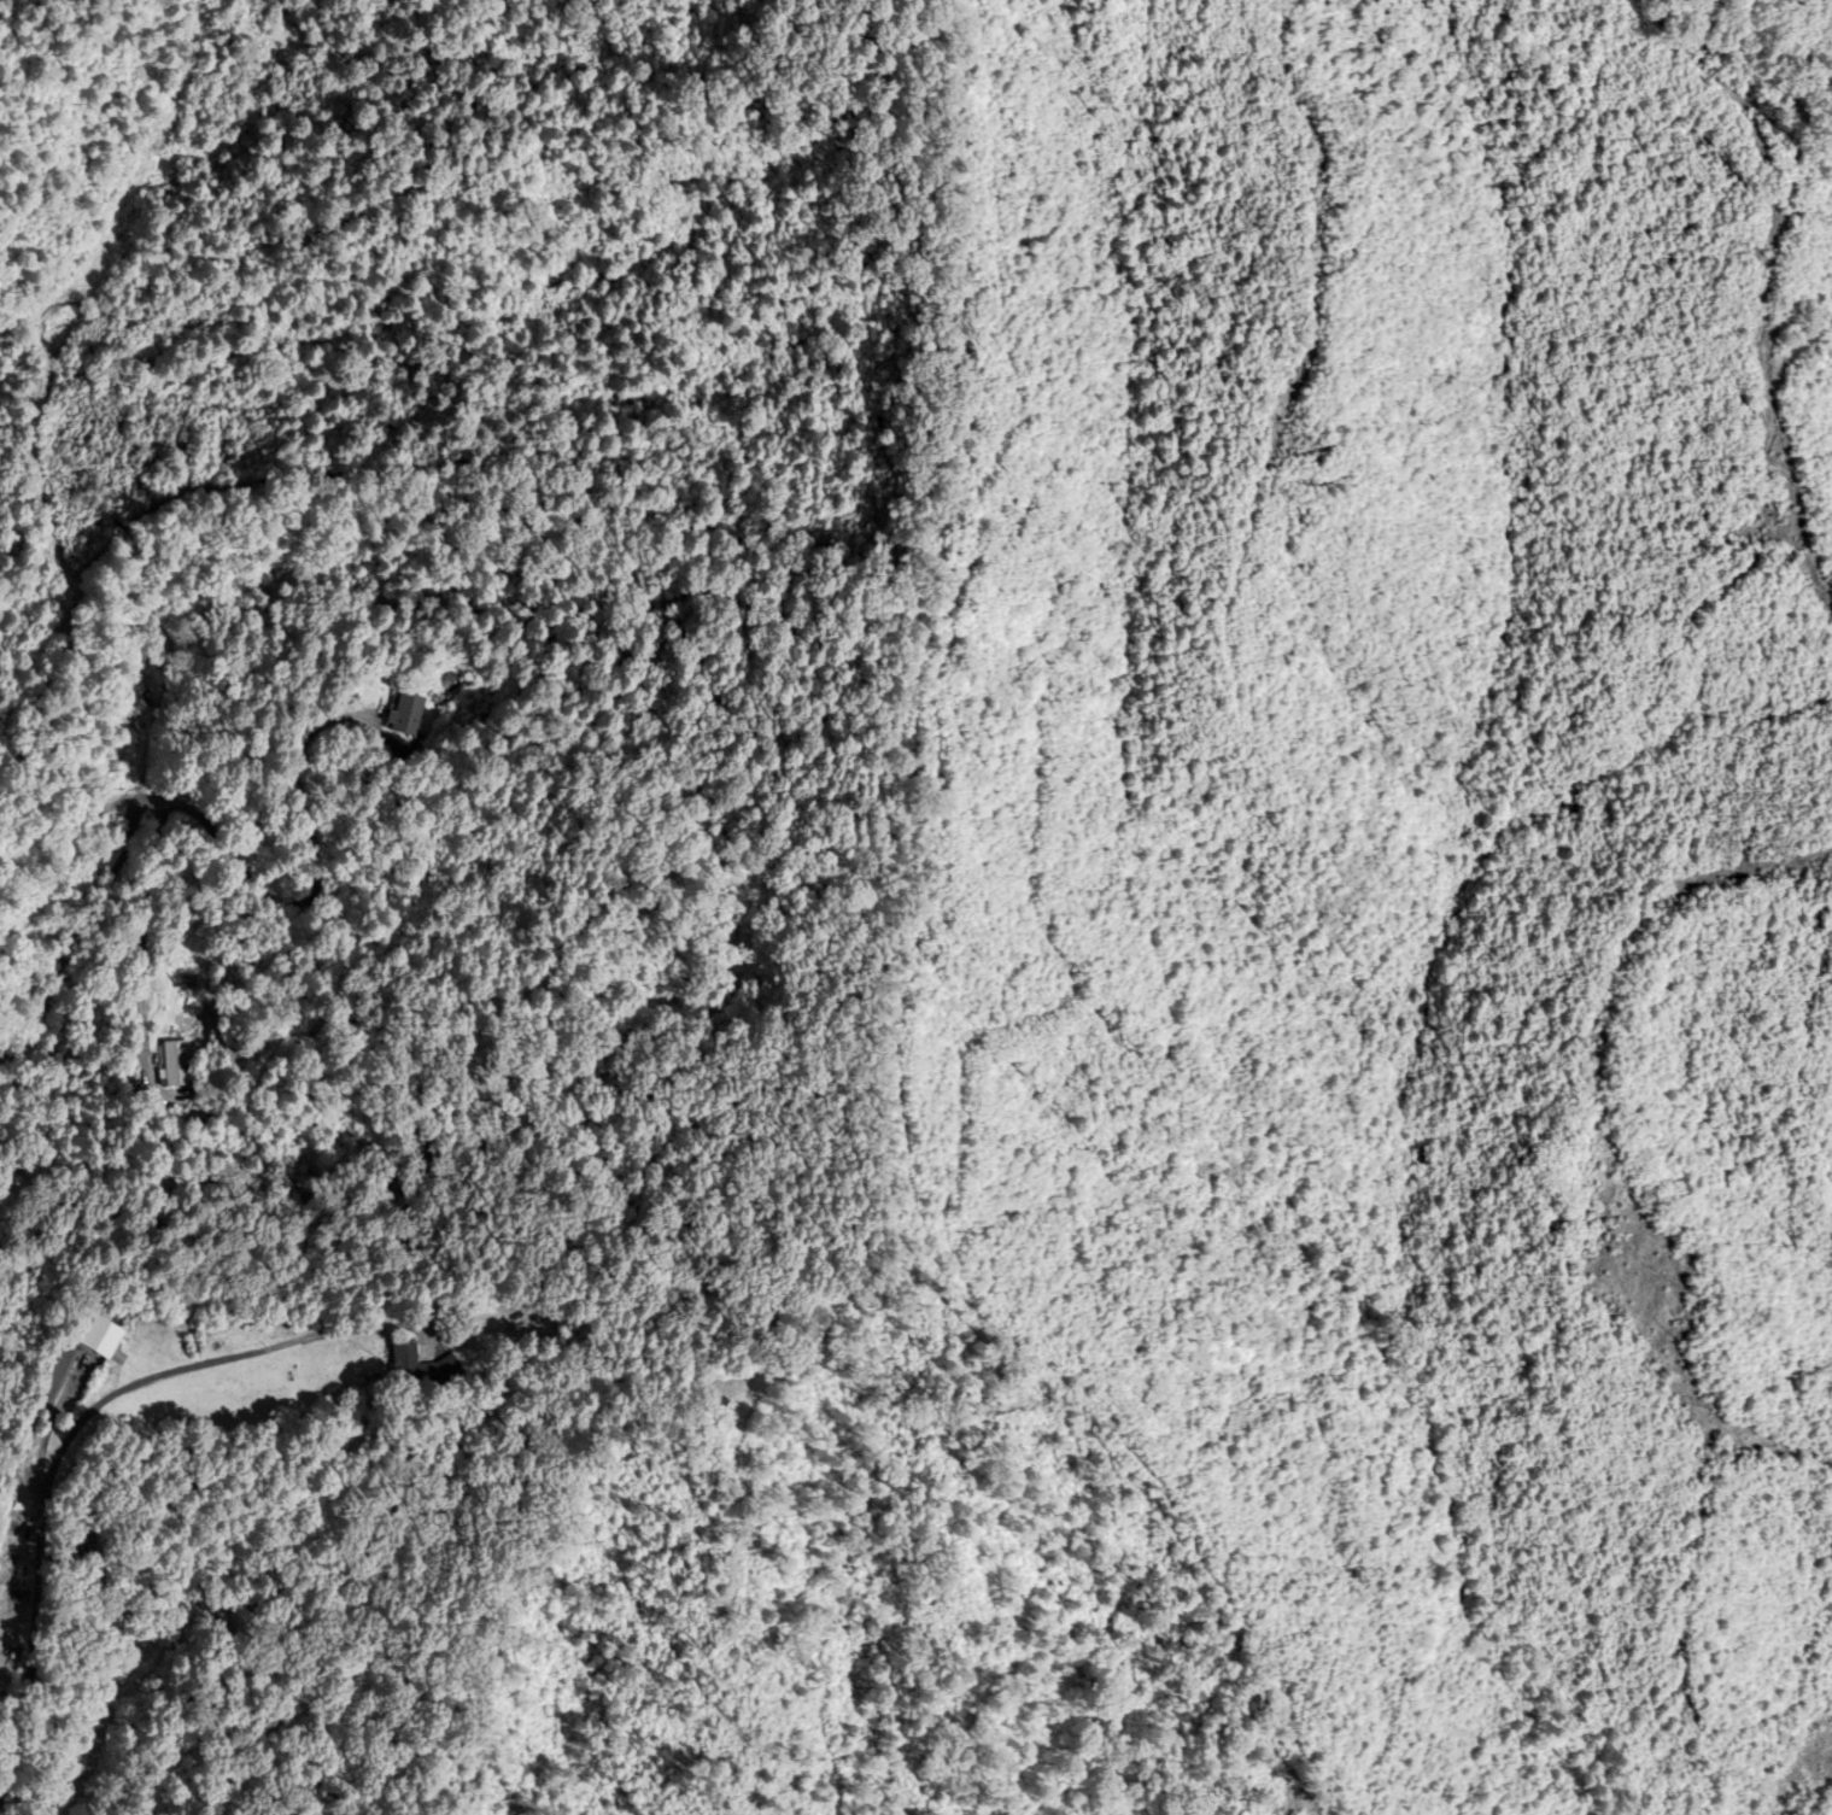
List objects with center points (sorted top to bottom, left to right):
building: (139, 692)
building: (404, 714)
road: (74, 850)
road: (308, 890)
road: (77, 931)
road: (140, 937)
building: (182, 1066)
building: (432, 1372)
building: (59, 1376)
road: (74, 1425)
building: (13, 1651)

